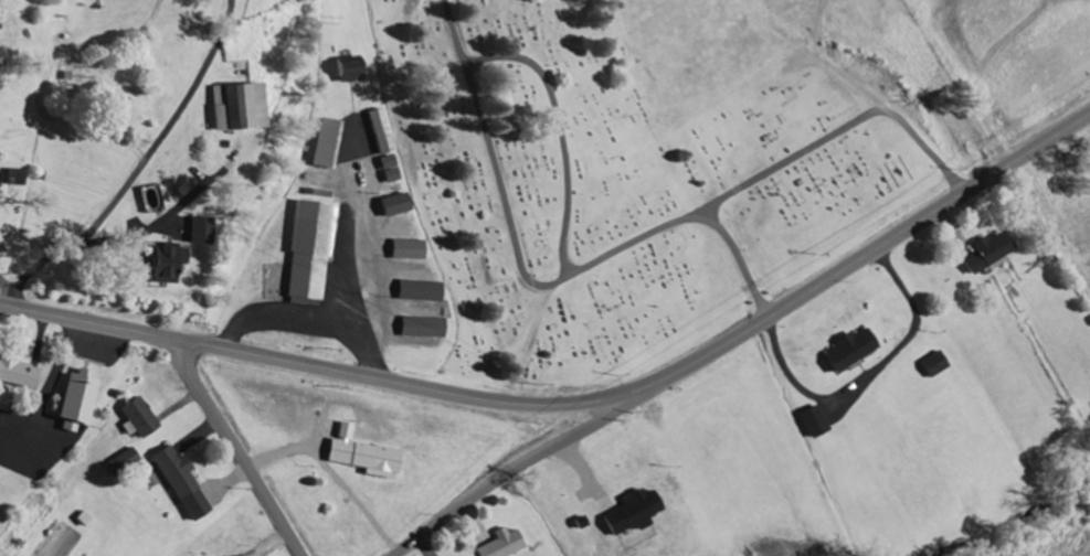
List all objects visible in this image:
building: (354, 72)
building: (244, 108)
building: (384, 133)
building: (330, 145)
building: (393, 171)
building: (21, 178)
park: (621, 184)
building: (399, 206)
building: (204, 232)
building: (412, 250)
building: (316, 253)
building: (994, 254)
building: (172, 265)
road: (537, 285)
building: (424, 292)
road: (89, 322)
building: (428, 329)
building: (857, 351)
building: (941, 366)
building: (22, 374)
road: (667, 377)
building: (83, 403)
building: (144, 420)
building: (821, 424)
road: (236, 449)
building: (369, 457)
road: (506, 475)
building: (187, 485)
building: (641, 513)
building: (508, 545)

